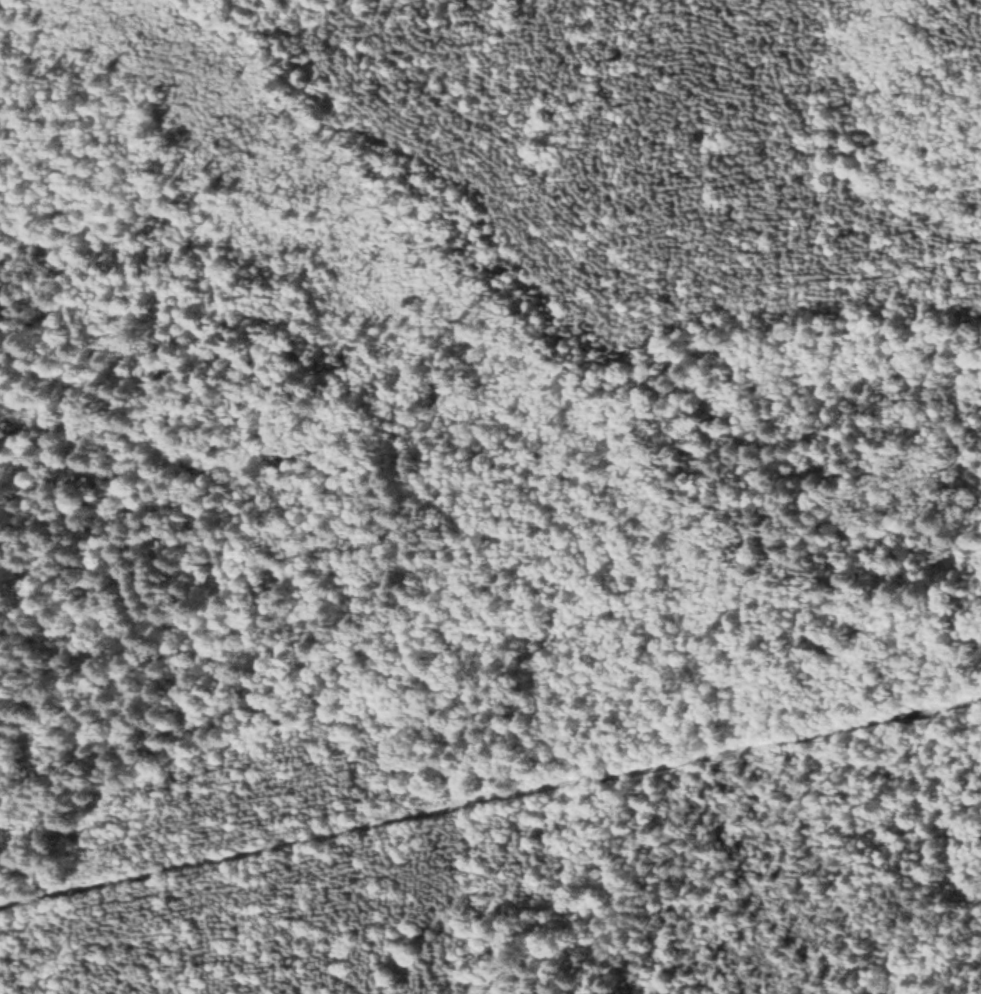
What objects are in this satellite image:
road: (490, 803)

